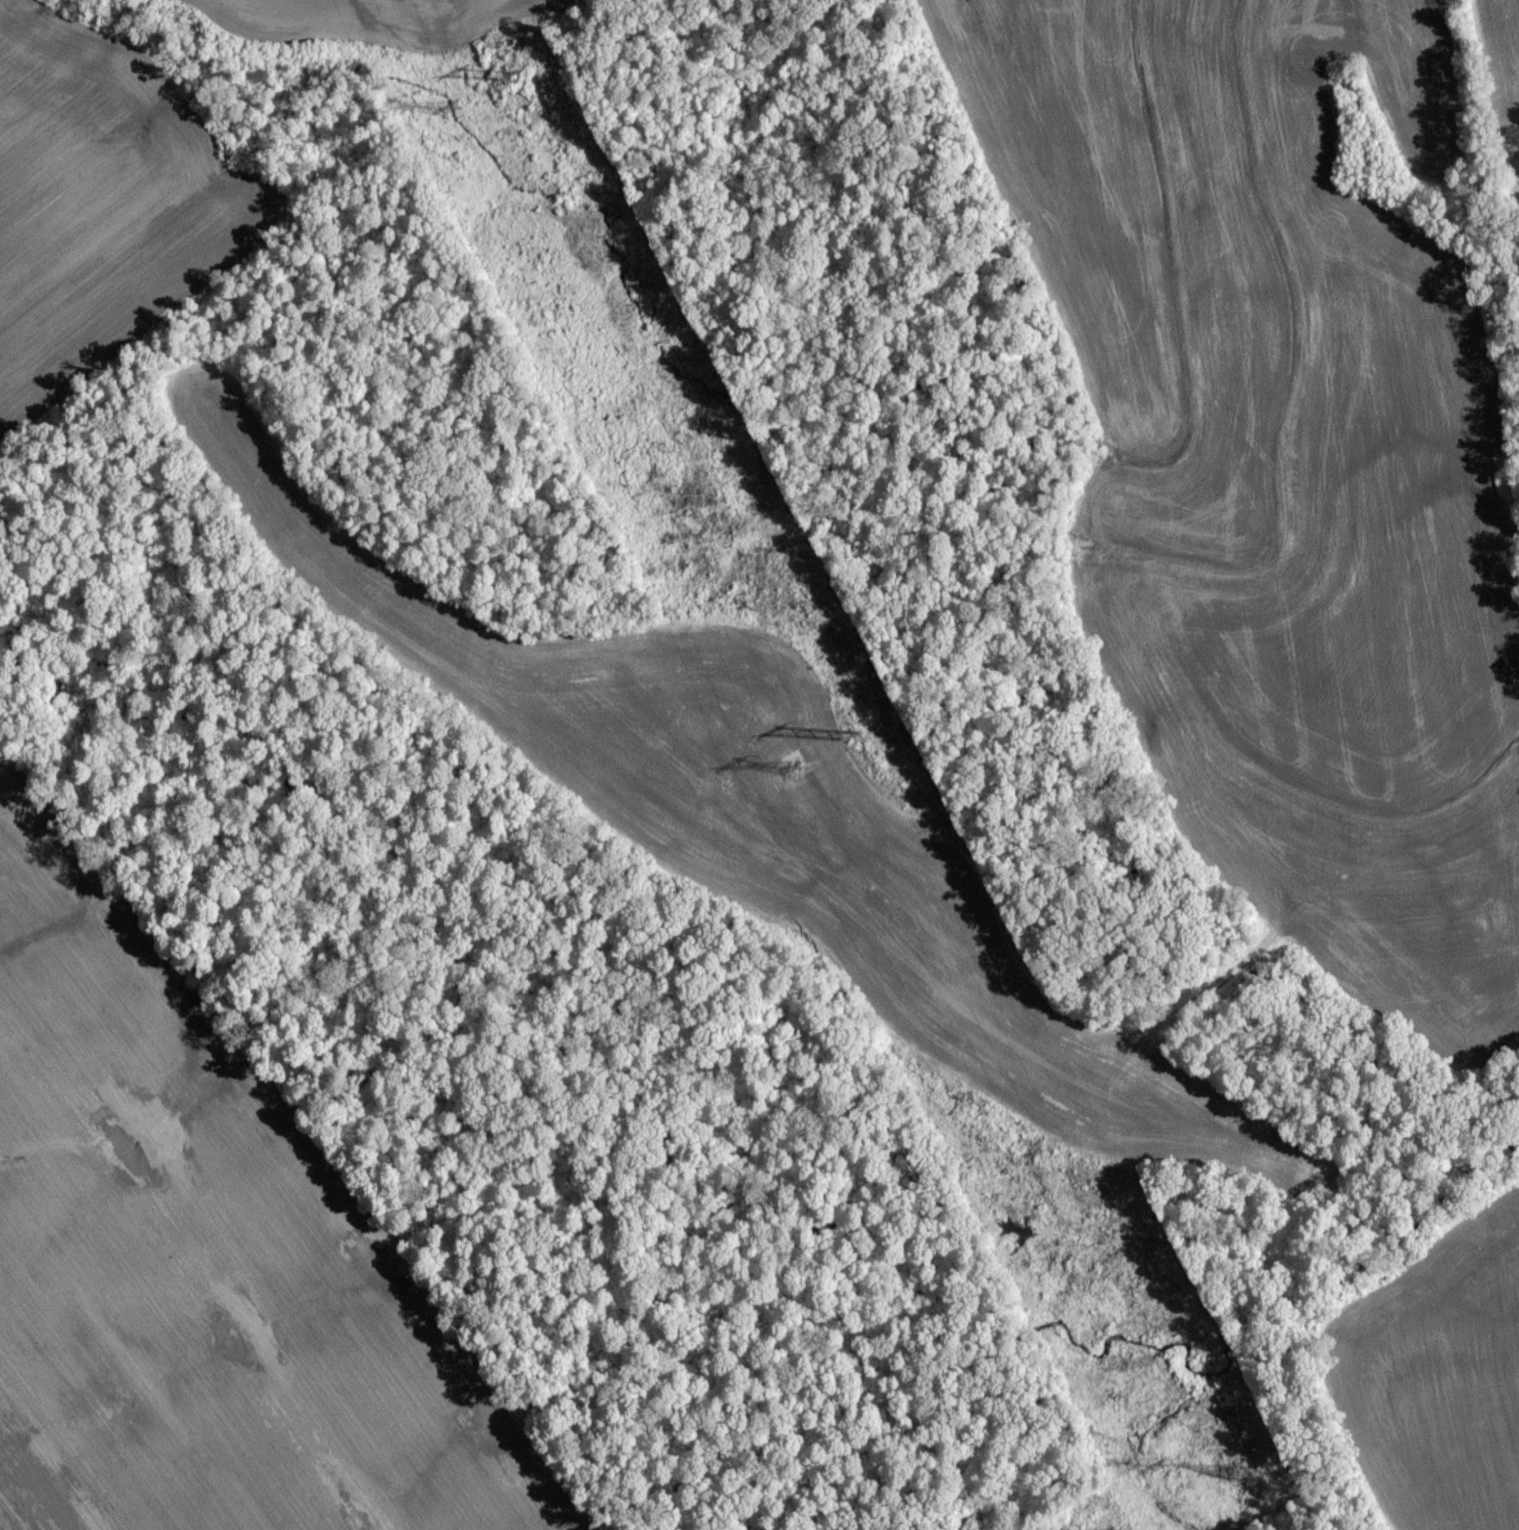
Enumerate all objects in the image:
power tower: (505, 85)
power tower: (448, 113)
power tower: (842, 744)
power tower: (790, 773)
power tower: (1155, 1473)
power tower: (1237, 1481)

